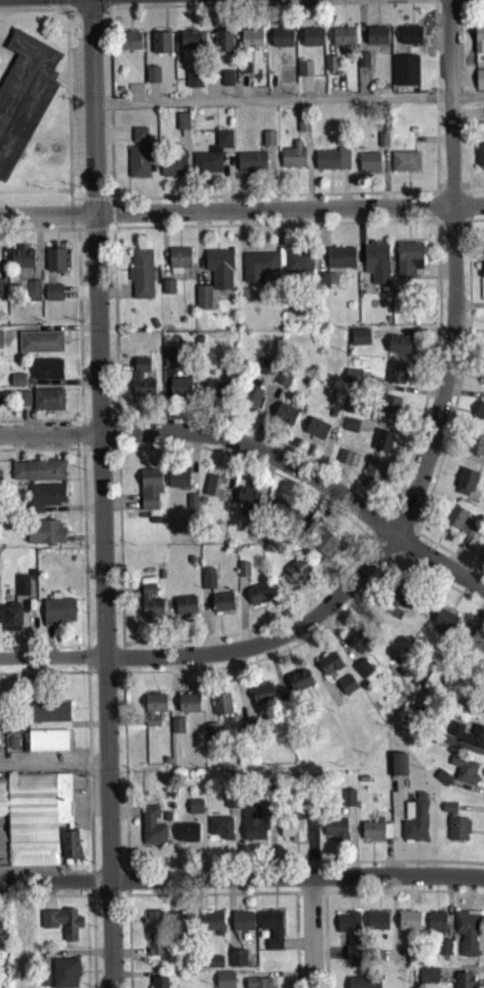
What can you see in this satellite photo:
road: (472, 3)
road: (60, 4)
road: (115, 4)
road: (448, 5)
road: (268, 9)
road: (115, 10)
road: (72, 12)
road: (36, 15)
road: (87, 16)
road: (73, 18)
building: (376, 39)
building: (410, 39)
building: (342, 40)
building: (312, 41)
building: (281, 42)
building: (251, 43)
building: (189, 44)
building: (478, 44)
building: (130, 45)
building: (222, 45)
building: (160, 47)
road: (8, 56)
road: (16, 60)
building: (363, 64)
building: (330, 67)
building: (243, 70)
building: (304, 72)
building: (405, 74)
parking lot: (75, 76)
building: (152, 78)
building: (285, 79)
building: (227, 82)
building: (193, 83)
building: (479, 83)
road: (65, 91)
building: (24, 99)
road: (67, 101)
road: (468, 101)
road: (271, 104)
building: (227, 116)
building: (182, 125)
building: (302, 128)
building: (139, 138)
building: (268, 142)
parking lot: (76, 146)
building: (212, 157)
building: (292, 159)
building: (479, 160)
building: (331, 163)
building: (250, 165)
building: (138, 166)
building: (369, 166)
building: (404, 166)
building: (173, 171)
road: (438, 190)
road: (450, 190)
road: (463, 191)
road: (67, 194)
road: (34, 195)
road: (473, 195)
road: (467, 198)
road: (432, 199)
road: (273, 200)
road: (69, 202)
road: (94, 203)
road: (108, 203)
road: (77, 204)
road: (72, 206)
road: (83, 206)
road: (111, 206)
road: (468, 210)
road: (430, 211)
road: (241, 213)
road: (111, 218)
road: (70, 220)
road: (430, 223)
road: (469, 223)
road: (439, 229)
road: (451, 229)
road: (463, 229)
road: (74, 233)
road: (110, 233)
road: (34, 234)
road: (93, 234)
building: (21, 261)
building: (340, 261)
building: (178, 263)
building: (408, 263)
building: (54, 264)
building: (297, 266)
building: (376, 266)
building: (257, 270)
building: (481, 271)
building: (219, 272)
road: (453, 273)
building: (141, 278)
building: (322, 285)
building: (167, 291)
building: (2, 292)
building: (33, 295)
building: (52, 296)
building: (202, 301)
building: (181, 324)
building: (154, 327)
road: (78, 332)
building: (359, 341)
building: (0, 344)
building: (198, 344)
building: (40, 346)
building: (400, 349)
building: (168, 363)
building: (265, 370)
building: (46, 373)
building: (395, 377)
building: (352, 380)
building: (483, 381)
building: (283, 382)
building: (142, 383)
building: (17, 384)
building: (179, 391)
building: (214, 394)
building: (251, 397)
building: (22, 402)
building: (47, 404)
building: (352, 410)
building: (389, 412)
road: (451, 414)
building: (479, 415)
building: (284, 418)
road: (115, 423)
road: (98, 424)
road: (42, 425)
building: (350, 429)
building: (316, 433)
road: (81, 438)
road: (117, 439)
building: (382, 445)
building: (476, 449)
road: (44, 454)
road: (100, 454)
road: (116, 454)
road: (410, 454)
road: (260, 455)
building: (344, 461)
building: (37, 475)
building: (0, 478)
building: (372, 479)
building: (177, 482)
building: (463, 485)
road: (294, 488)
building: (213, 490)
road: (99, 493)
building: (149, 494)
building: (44, 501)
building: (247, 504)
building: (191, 505)
building: (285, 517)
road: (394, 517)
road: (385, 520)
road: (404, 523)
building: (457, 525)
road: (377, 530)
road: (414, 530)
building: (44, 536)
road: (369, 540)
road: (415, 540)
building: (319, 542)
road: (370, 547)
road: (82, 550)
road: (408, 550)
road: (381, 553)
road: (401, 559)
road: (393, 561)
building: (190, 564)
building: (243, 573)
building: (295, 575)
building: (160, 578)
building: (207, 582)
building: (21, 589)
building: (258, 598)
building: (399, 605)
building: (150, 606)
building: (222, 606)
building: (185, 610)
building: (58, 615)
building: (11, 623)
building: (444, 627)
building: (358, 644)
building: (477, 644)
road: (121, 651)
road: (219, 657)
road: (85, 661)
road: (121, 663)
building: (329, 668)
building: (362, 672)
road: (121, 676)
road: (46, 677)
road: (105, 677)
building: (299, 684)
building: (346, 689)
building: (262, 697)
building: (188, 707)
building: (220, 707)
building: (154, 713)
building: (49, 716)
building: (483, 716)
building: (176, 729)
building: (211, 736)
building: (466, 738)
building: (48, 744)
road: (122, 745)
building: (397, 769)
road: (52, 772)
road: (88, 773)
building: (464, 774)
building: (442, 782)
building: (348, 802)
building: (230, 803)
building: (194, 811)
building: (34, 820)
building: (415, 823)
building: (252, 827)
building: (455, 827)
building: (151, 831)
building: (220, 832)
building: (335, 833)
building: (292, 835)
building: (375, 835)
building: (186, 837)
building: (70, 849)
road: (73, 867)
road: (31, 871)
road: (68, 871)
road: (126, 875)
road: (242, 882)
road: (409, 884)
road: (90, 885)
road: (377, 885)
road: (434, 885)
road: (349, 886)
road: (467, 886)
road: (127, 887)
road: (274, 887)
road: (127, 897)
road: (320, 897)
road: (358, 897)
road: (210, 898)
road: (296, 898)
road: (308, 898)
road: (110, 900)
road: (123, 900)
road: (49, 901)
road: (349, 903)
road: (377, 903)
road: (409, 903)
road: (467, 903)
road: (274, 904)
road: (435, 904)
road: (448, 912)
road: (393, 913)
road: (402, 913)
road: (388, 914)
road: (440, 915)
road: (447, 915)
road: (392, 920)
building: (185, 925)
building: (242, 925)
building: (376, 925)
building: (408, 925)
building: (1, 926)
building: (25, 926)
building: (62, 926)
building: (436, 926)
building: (154, 927)
building: (212, 927)
road: (388, 927)
road: (392, 927)
road: (396, 927)
building: (271, 932)
road: (309, 935)
building: (466, 936)
building: (350, 937)
road: (480, 940)
road: (92, 941)
road: (480, 943)
road: (480, 950)
building: (155, 952)
building: (444, 952)
road: (480, 953)
road: (327, 957)
building: (375, 959)
building: (412, 960)
road: (393, 961)
building: (237, 962)
building: (216, 967)
building: (65, 975)
building: (428, 980)
building: (44, 981)
building: (224, 981)
building: (463, 982)
building: (159, 984)
building: (364, 984)
building: (257, 985)

